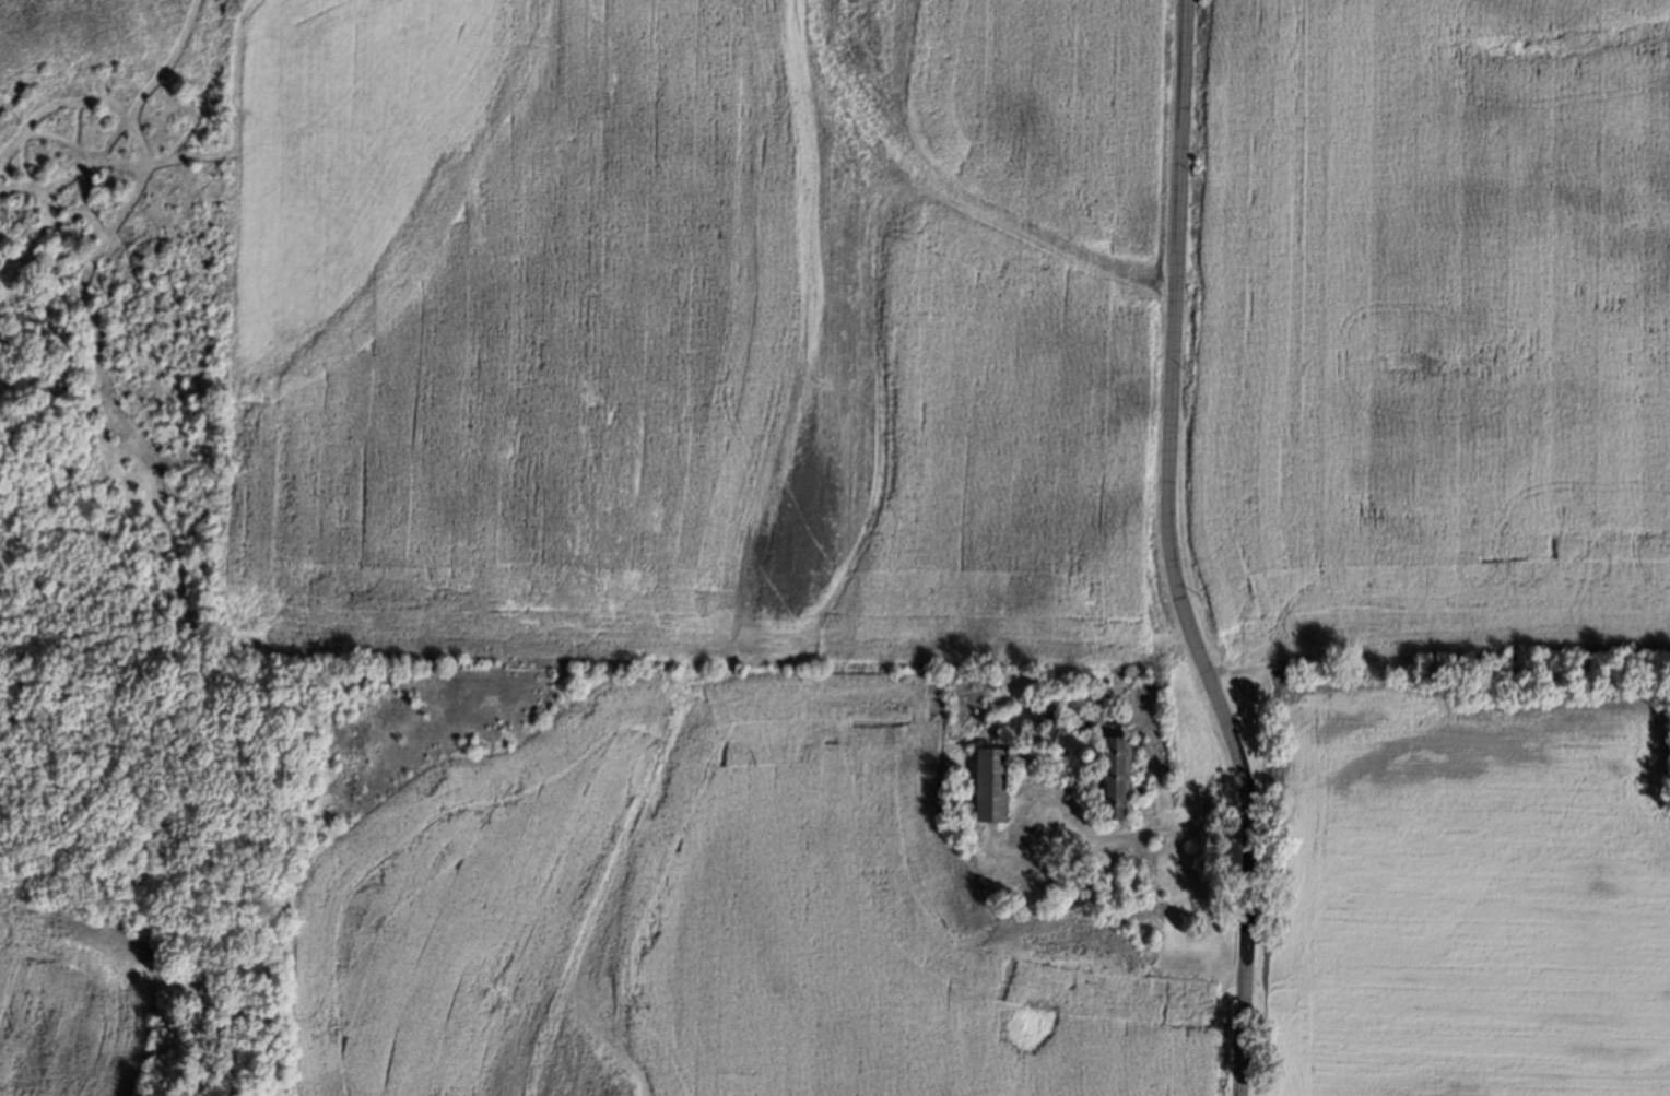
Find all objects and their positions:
road: (1171, 553)
building: (1097, 749)
building: (984, 785)
building: (1133, 879)

